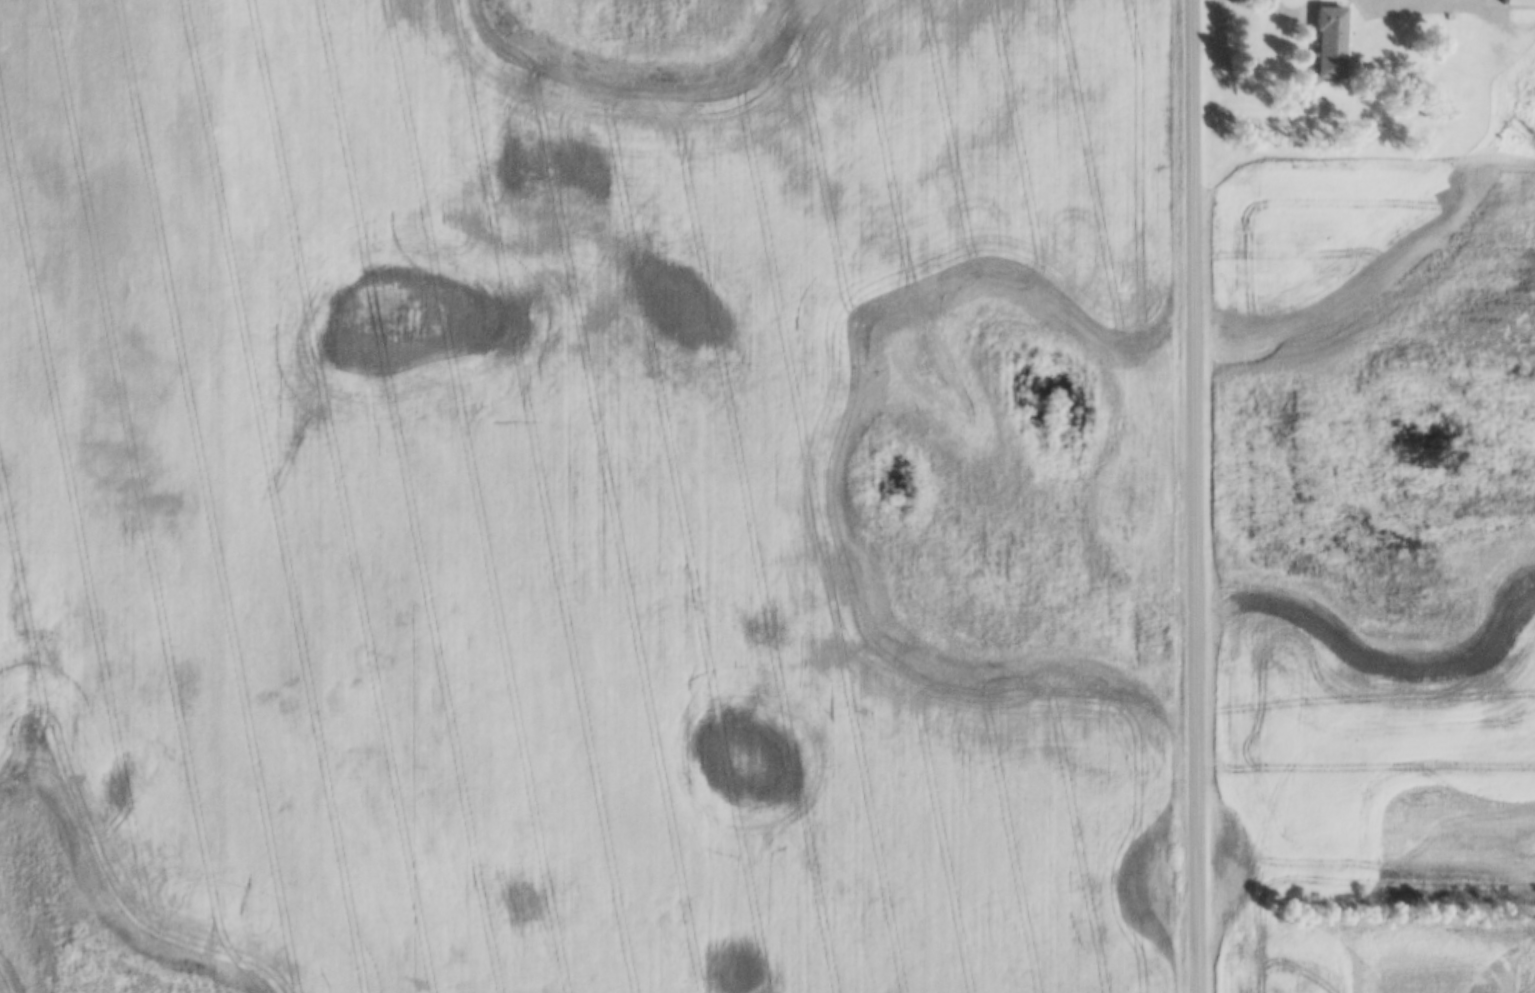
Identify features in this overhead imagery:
building: (1516, 3)
road: (1490, 24)
building: (1450, 35)
building: (1325, 43)
road: (1197, 496)

